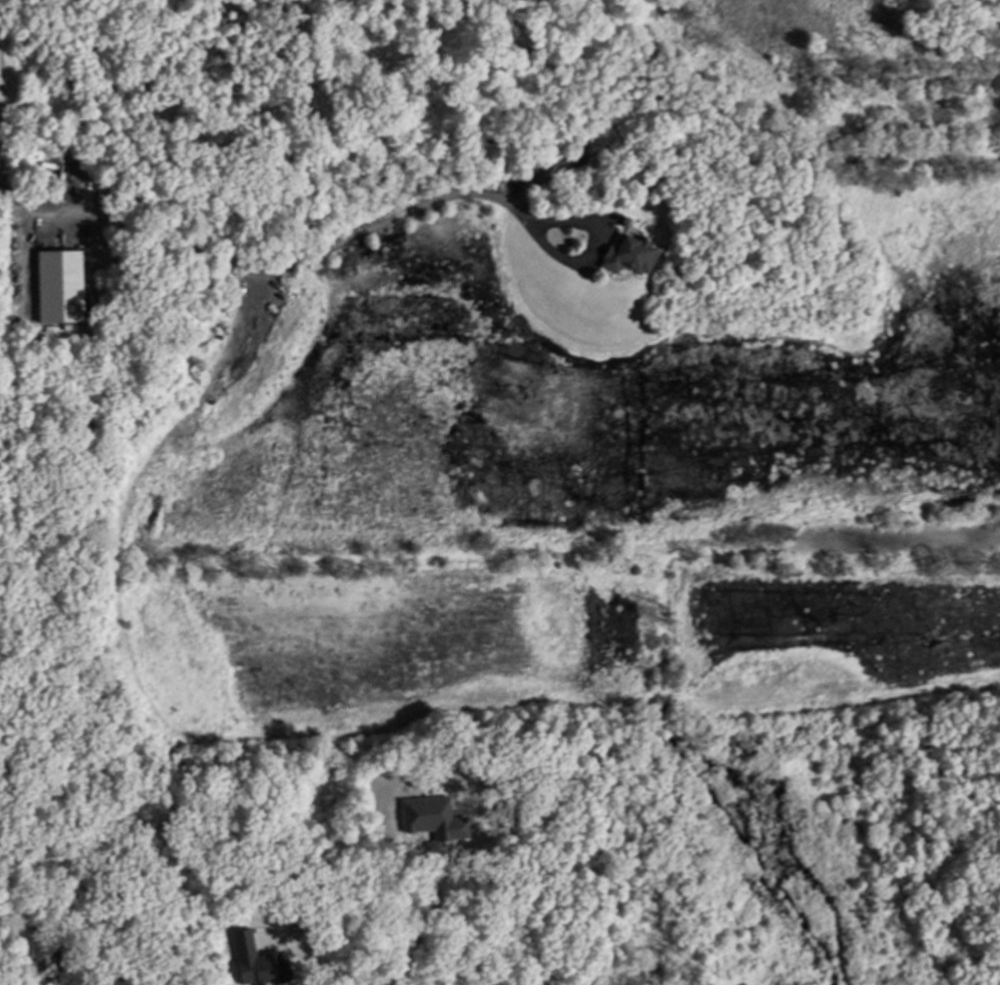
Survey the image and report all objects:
road: (416, 211)
building: (631, 258)
building: (59, 288)
road: (256, 313)
road: (2, 976)

